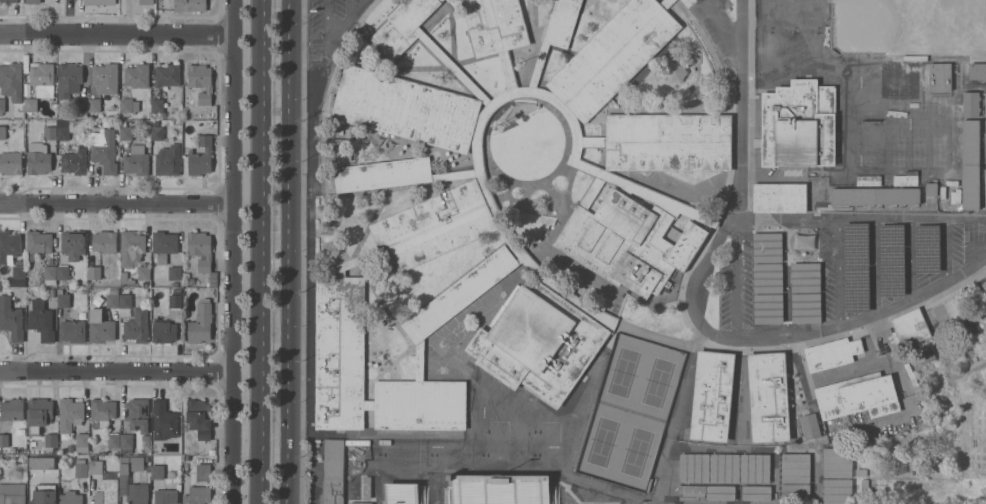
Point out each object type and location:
building: (8, 1)
building: (33, 1)
building: (100, 2)
building: (147, 2)
building: (667, 3)
building: (190, 5)
park: (769, 14)
park: (792, 14)
park: (814, 15)
road: (326, 19)
road: (344, 19)
building: (562, 22)
road: (721, 24)
building: (495, 25)
building: (402, 26)
park: (864, 26)
road: (116, 28)
park: (769, 43)
park: (792, 43)
park: (813, 43)
building: (613, 56)
building: (977, 71)
building: (168, 74)
building: (137, 75)
building: (940, 76)
building: (106, 78)
building: (43, 79)
building: (69, 79)
building: (11, 81)
building: (201, 81)
building: (971, 103)
building: (31, 104)
building: (2, 105)
building: (94, 105)
building: (129, 105)
building: (158, 105)
building: (81, 108)
building: (406, 108)
road: (736, 109)
building: (123, 122)
building: (154, 122)
building: (116, 123)
building: (799, 124)
building: (70, 127)
building: (51, 130)
building: (3, 131)
building: (126, 132)
building: (158, 133)
building: (668, 141)
building: (104, 150)
building: (201, 156)
building: (38, 158)
building: (168, 159)
building: (137, 160)
building: (75, 161)
building: (11, 162)
building: (971, 164)
building: (382, 174)
building: (623, 182)
building: (931, 188)
building: (873, 195)
building: (780, 197)
road: (116, 207)
road: (860, 217)
building: (433, 226)
building: (627, 239)
building: (105, 241)
building: (39, 243)
building: (74, 244)
building: (164, 245)
building: (9, 246)
building: (768, 247)
building: (927, 248)
building: (135, 251)
road: (232, 252)
road: (261, 252)
road: (288, 252)
building: (202, 253)
building: (893, 260)
building: (355, 261)
road: (970, 266)
building: (855, 267)
road: (839, 271)
building: (66, 272)
building: (95, 272)
building: (175, 272)
building: (50, 274)
building: (18, 276)
road: (735, 276)
building: (806, 276)
building: (768, 277)
building: (126, 279)
building: (191, 281)
building: (175, 283)
building: (984, 284)
road: (692, 285)
building: (177, 290)
building: (51, 292)
building: (460, 293)
building: (63, 298)
building: (113, 298)
building: (98, 300)
building: (175, 300)
building: (806, 307)
building: (769, 308)
building: (950, 309)
building: (11, 318)
building: (134, 318)
building: (42, 319)
building: (201, 322)
road: (849, 322)
building: (972, 325)
building: (100, 326)
building: (911, 327)
building: (340, 328)
building: (74, 330)
building: (164, 331)
building: (539, 342)
building: (832, 352)
building: (927, 355)
building: (420, 360)
road: (115, 364)
building: (713, 395)
building: (769, 396)
building: (858, 396)
building: (12, 409)
building: (103, 410)
park: (632, 410)
building: (39, 413)
building: (138, 413)
building: (70, 414)
building: (164, 417)
building: (200, 417)
building: (810, 425)
building: (4, 439)
building: (51, 439)
building: (114, 440)
building: (127, 440)
building: (146, 440)
building: (82, 442)
building: (212, 450)
building: (42, 462)
building: (838, 462)
building: (81, 467)
building: (694, 467)
building: (724, 467)
building: (755, 467)
building: (796, 467)
building: (157, 471)
building: (204, 471)
building: (333, 471)
building: (861, 471)
building: (125, 478)
building: (105, 484)
building: (864, 484)
building: (367, 487)
building: (501, 488)
building: (692, 488)
building: (795, 490)
building: (837, 491)
building: (721, 492)
building: (757, 492)
building: (12, 493)
building: (402, 493)
building: (44, 494)
building: (197, 495)
building: (166, 496)
building: (71, 497)
building: (361, 503)

